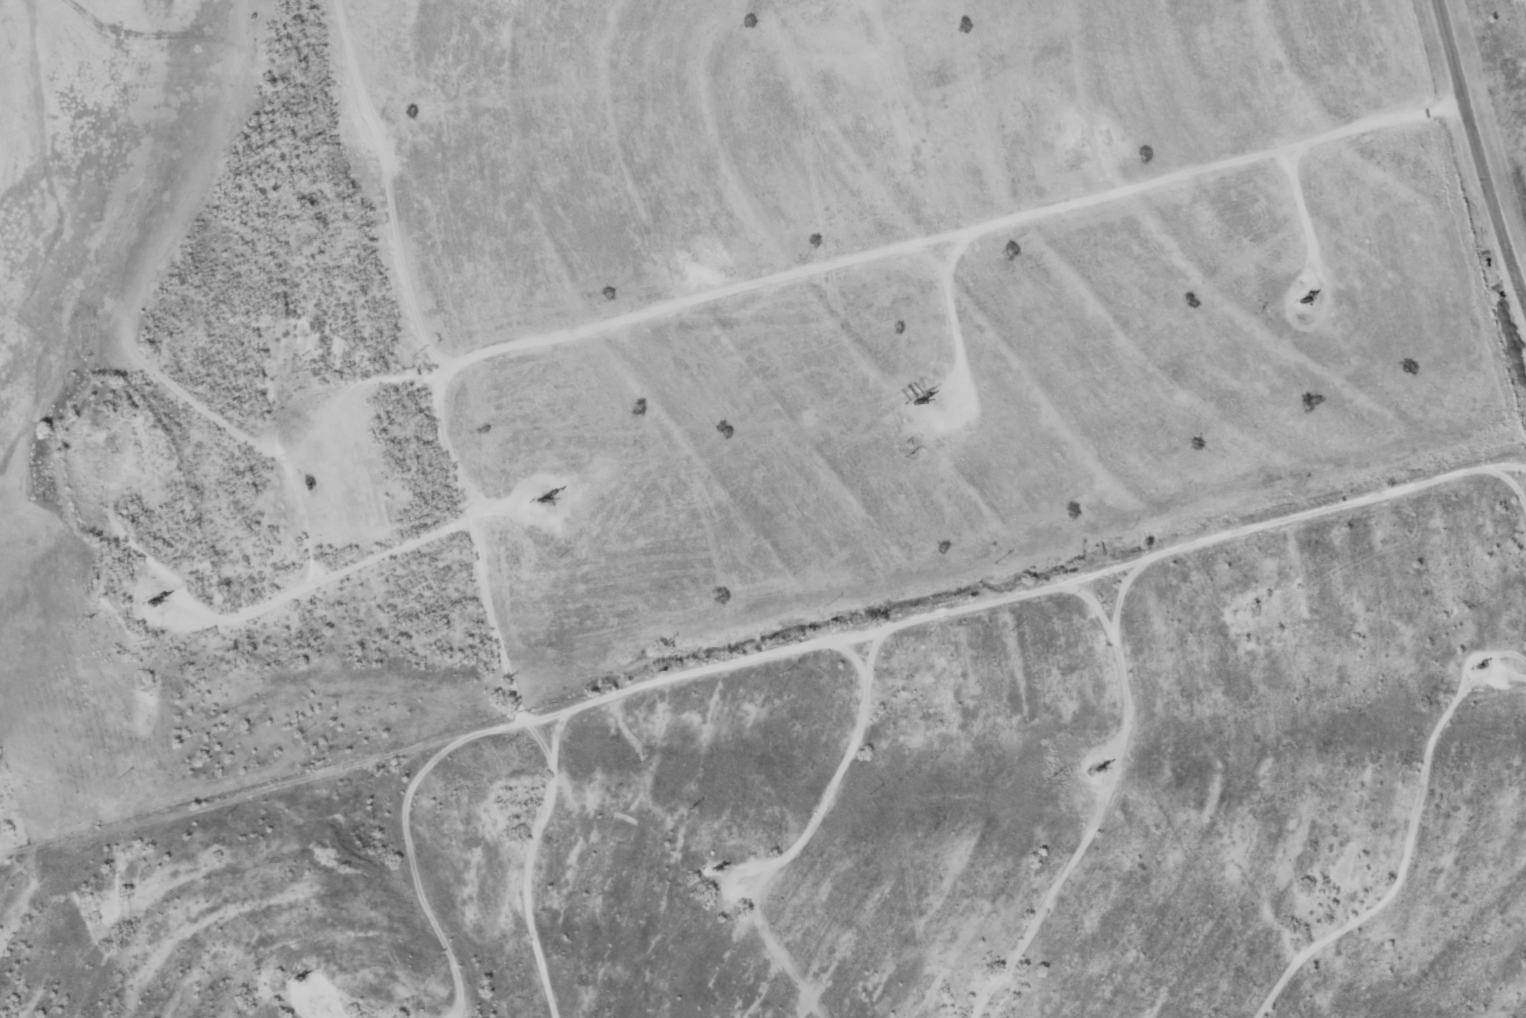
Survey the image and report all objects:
road: (1480, 153)
road: (873, 250)

